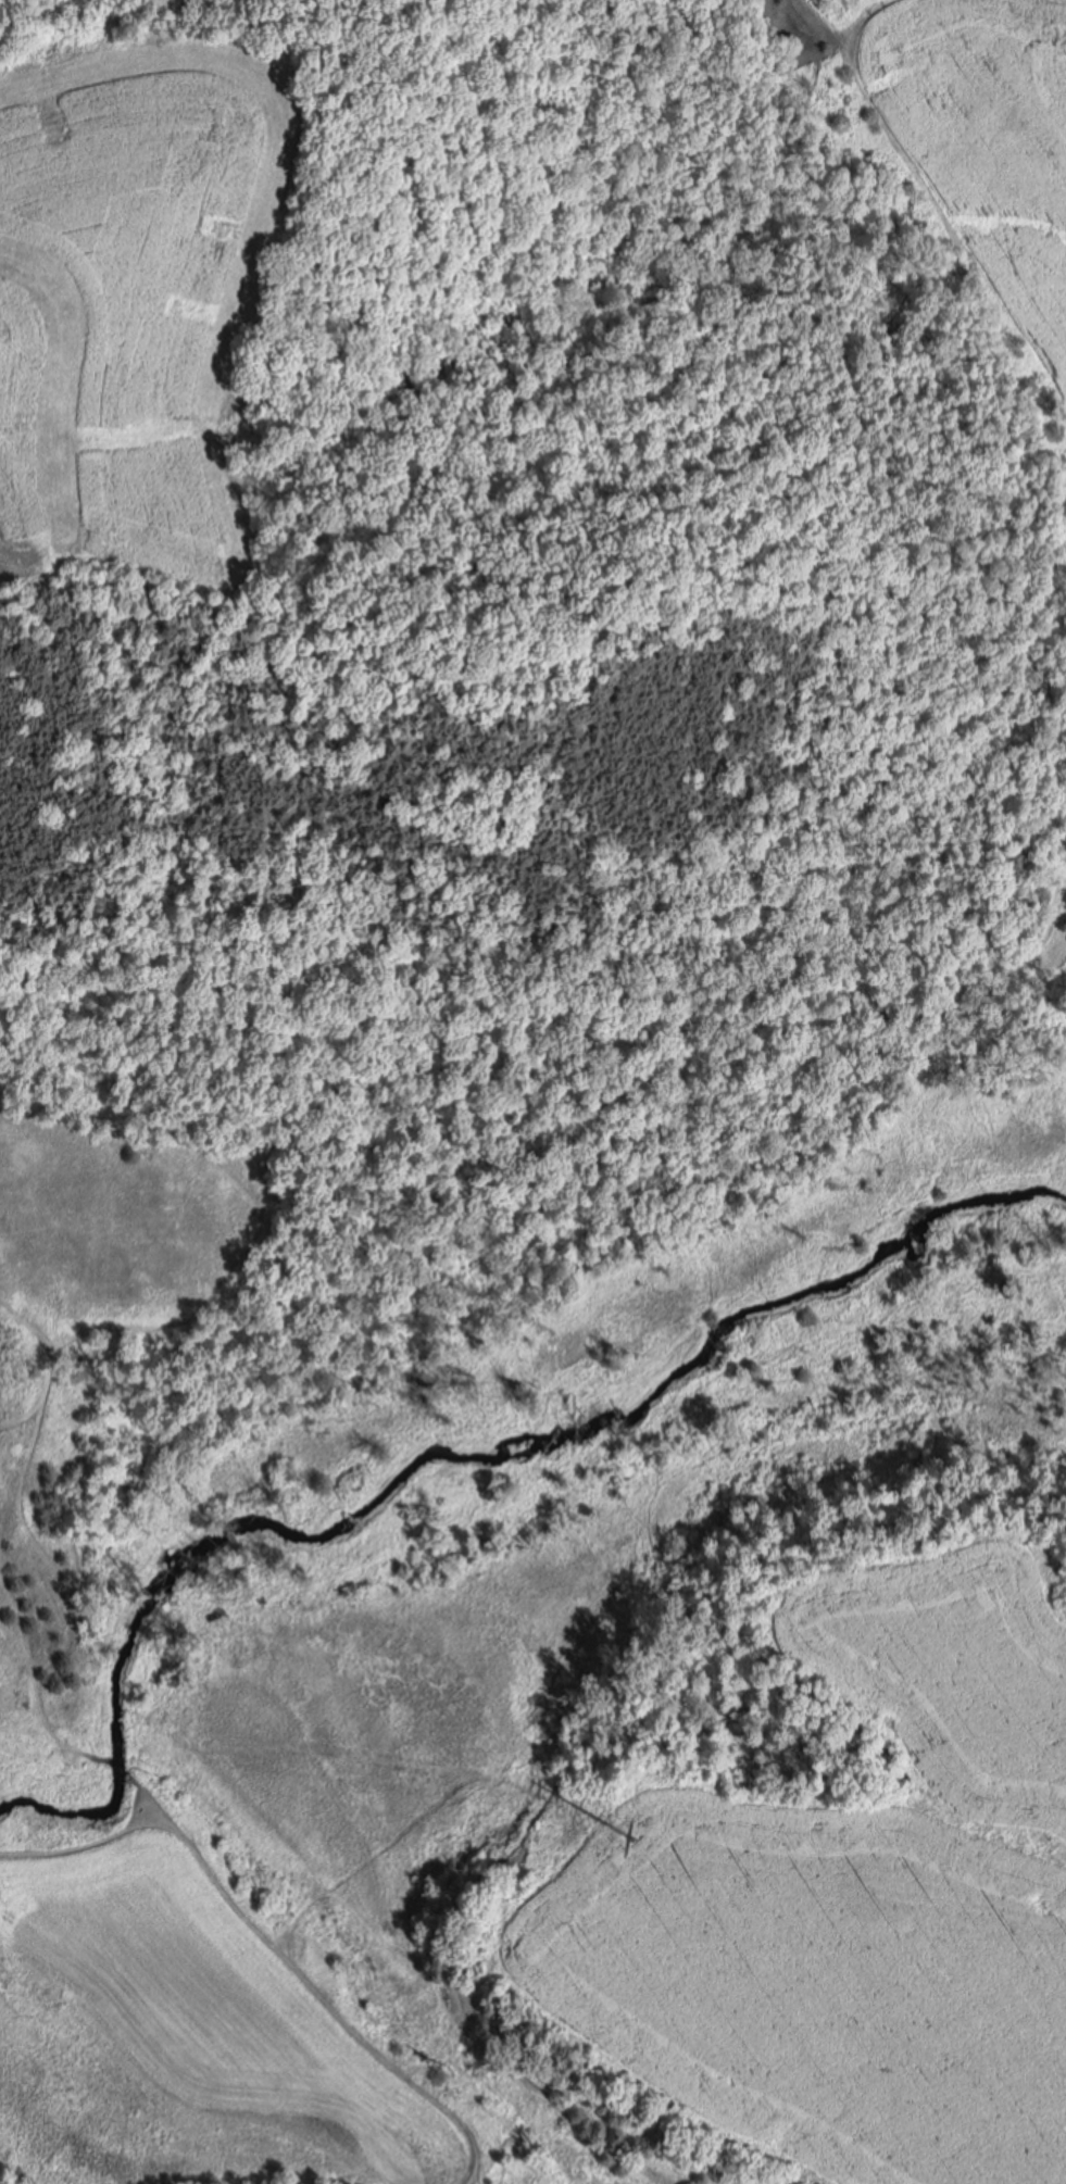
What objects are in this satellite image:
power tower: (632, 1831)

